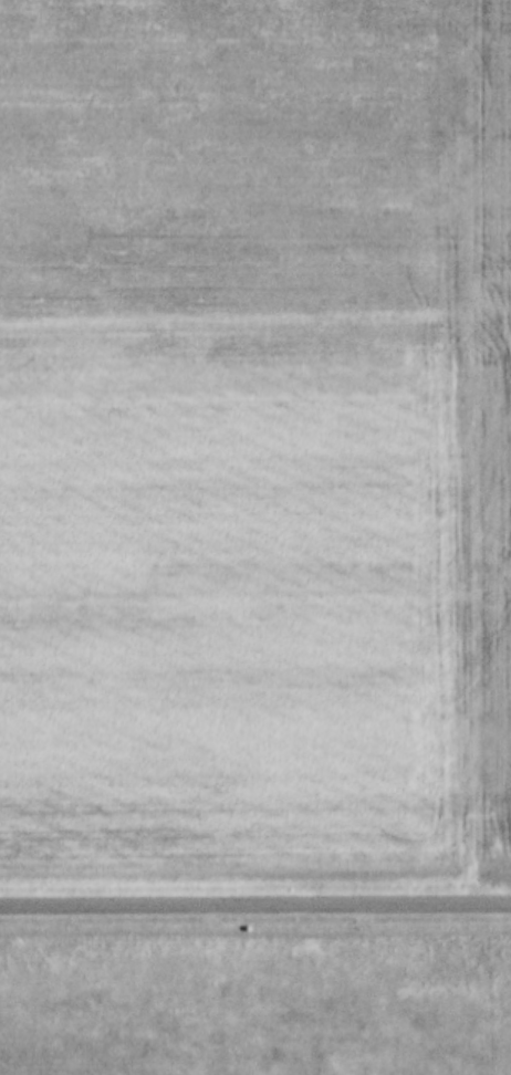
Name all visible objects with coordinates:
road: (255, 901)

